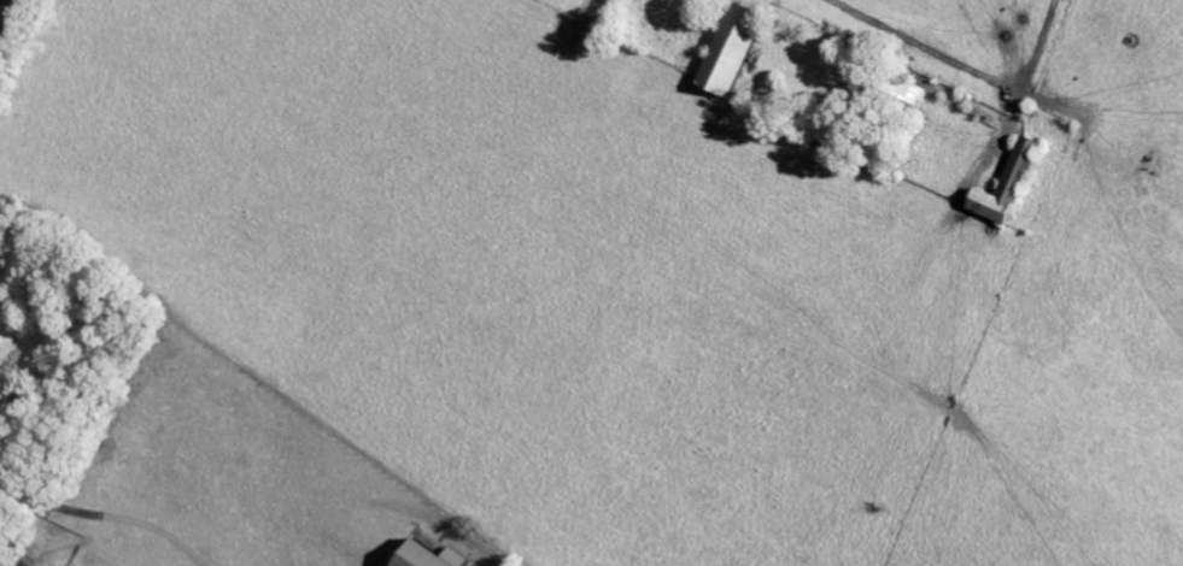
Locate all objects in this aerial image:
road: (1042, 43)
building: (725, 51)
building: (1002, 184)
road: (106, 514)
building: (421, 555)

